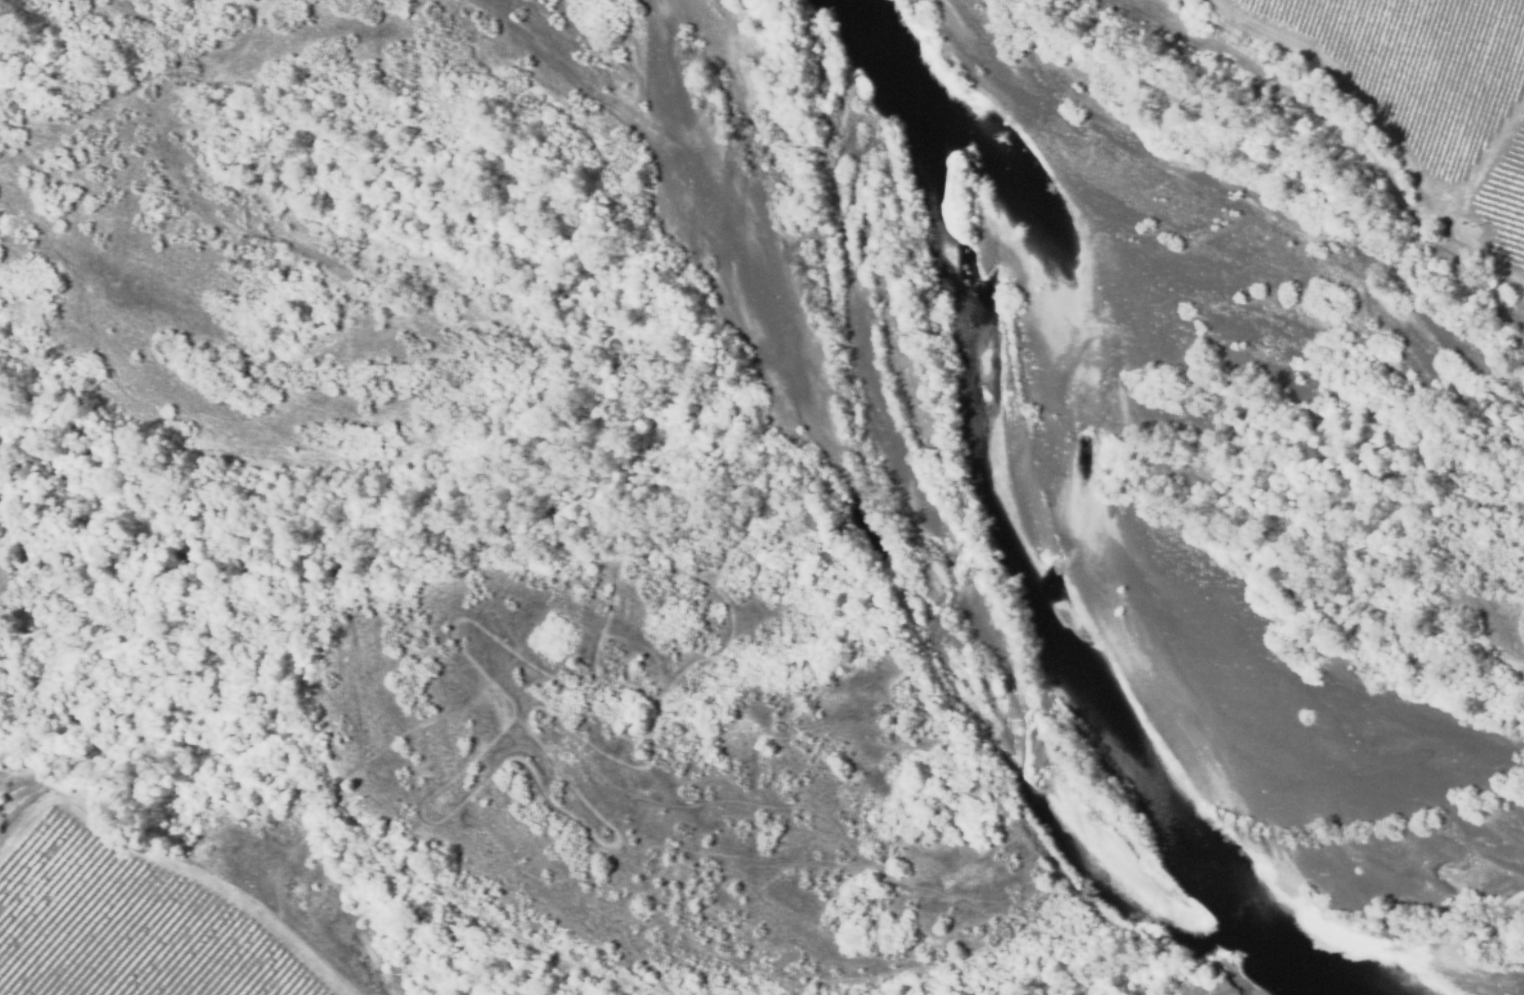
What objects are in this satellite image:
river: (954, 496)

